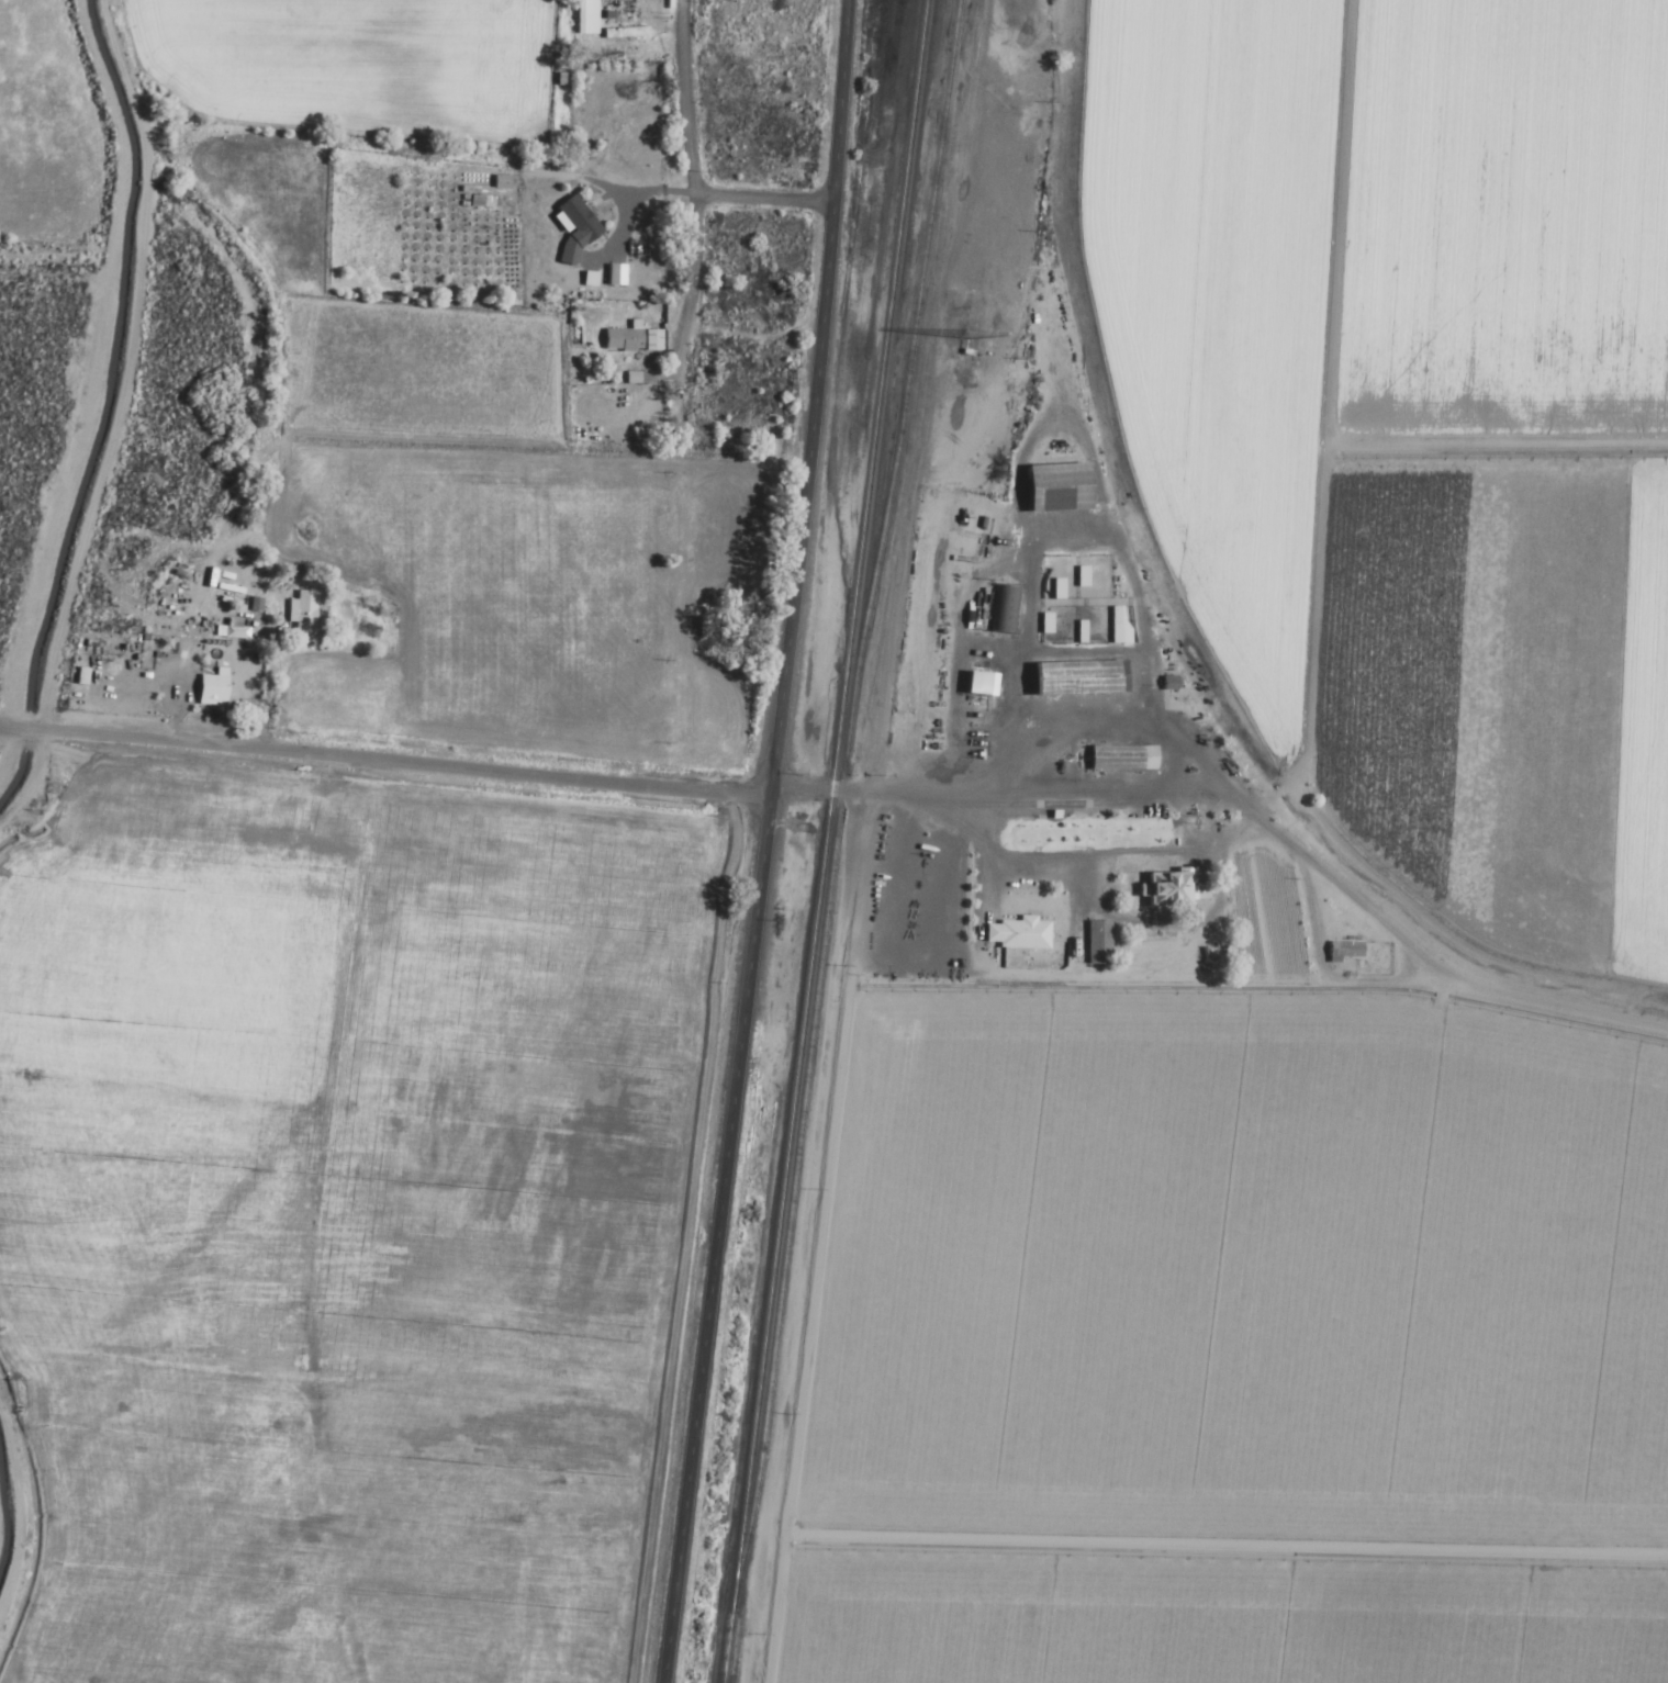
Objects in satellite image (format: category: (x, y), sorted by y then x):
building: (579, 16)
building: (611, 34)
road: (691, 98)
road: (833, 153)
road: (760, 199)
building: (572, 227)
road: (689, 246)
building: (613, 274)
railway: (846, 314)
building: (629, 339)
crop: (1413, 420)
building: (1053, 487)
building: (298, 609)
building: (1003, 610)
building: (1043, 624)
building: (1116, 626)
building: (131, 664)
building: (1074, 678)
building: (976, 684)
building: (209, 687)
building: (1119, 759)
road: (887, 794)
railway: (837, 798)
railway: (822, 841)
building: (1168, 889)
building: (1017, 933)
building: (1095, 943)
building: (1342, 952)
road: (743, 994)

